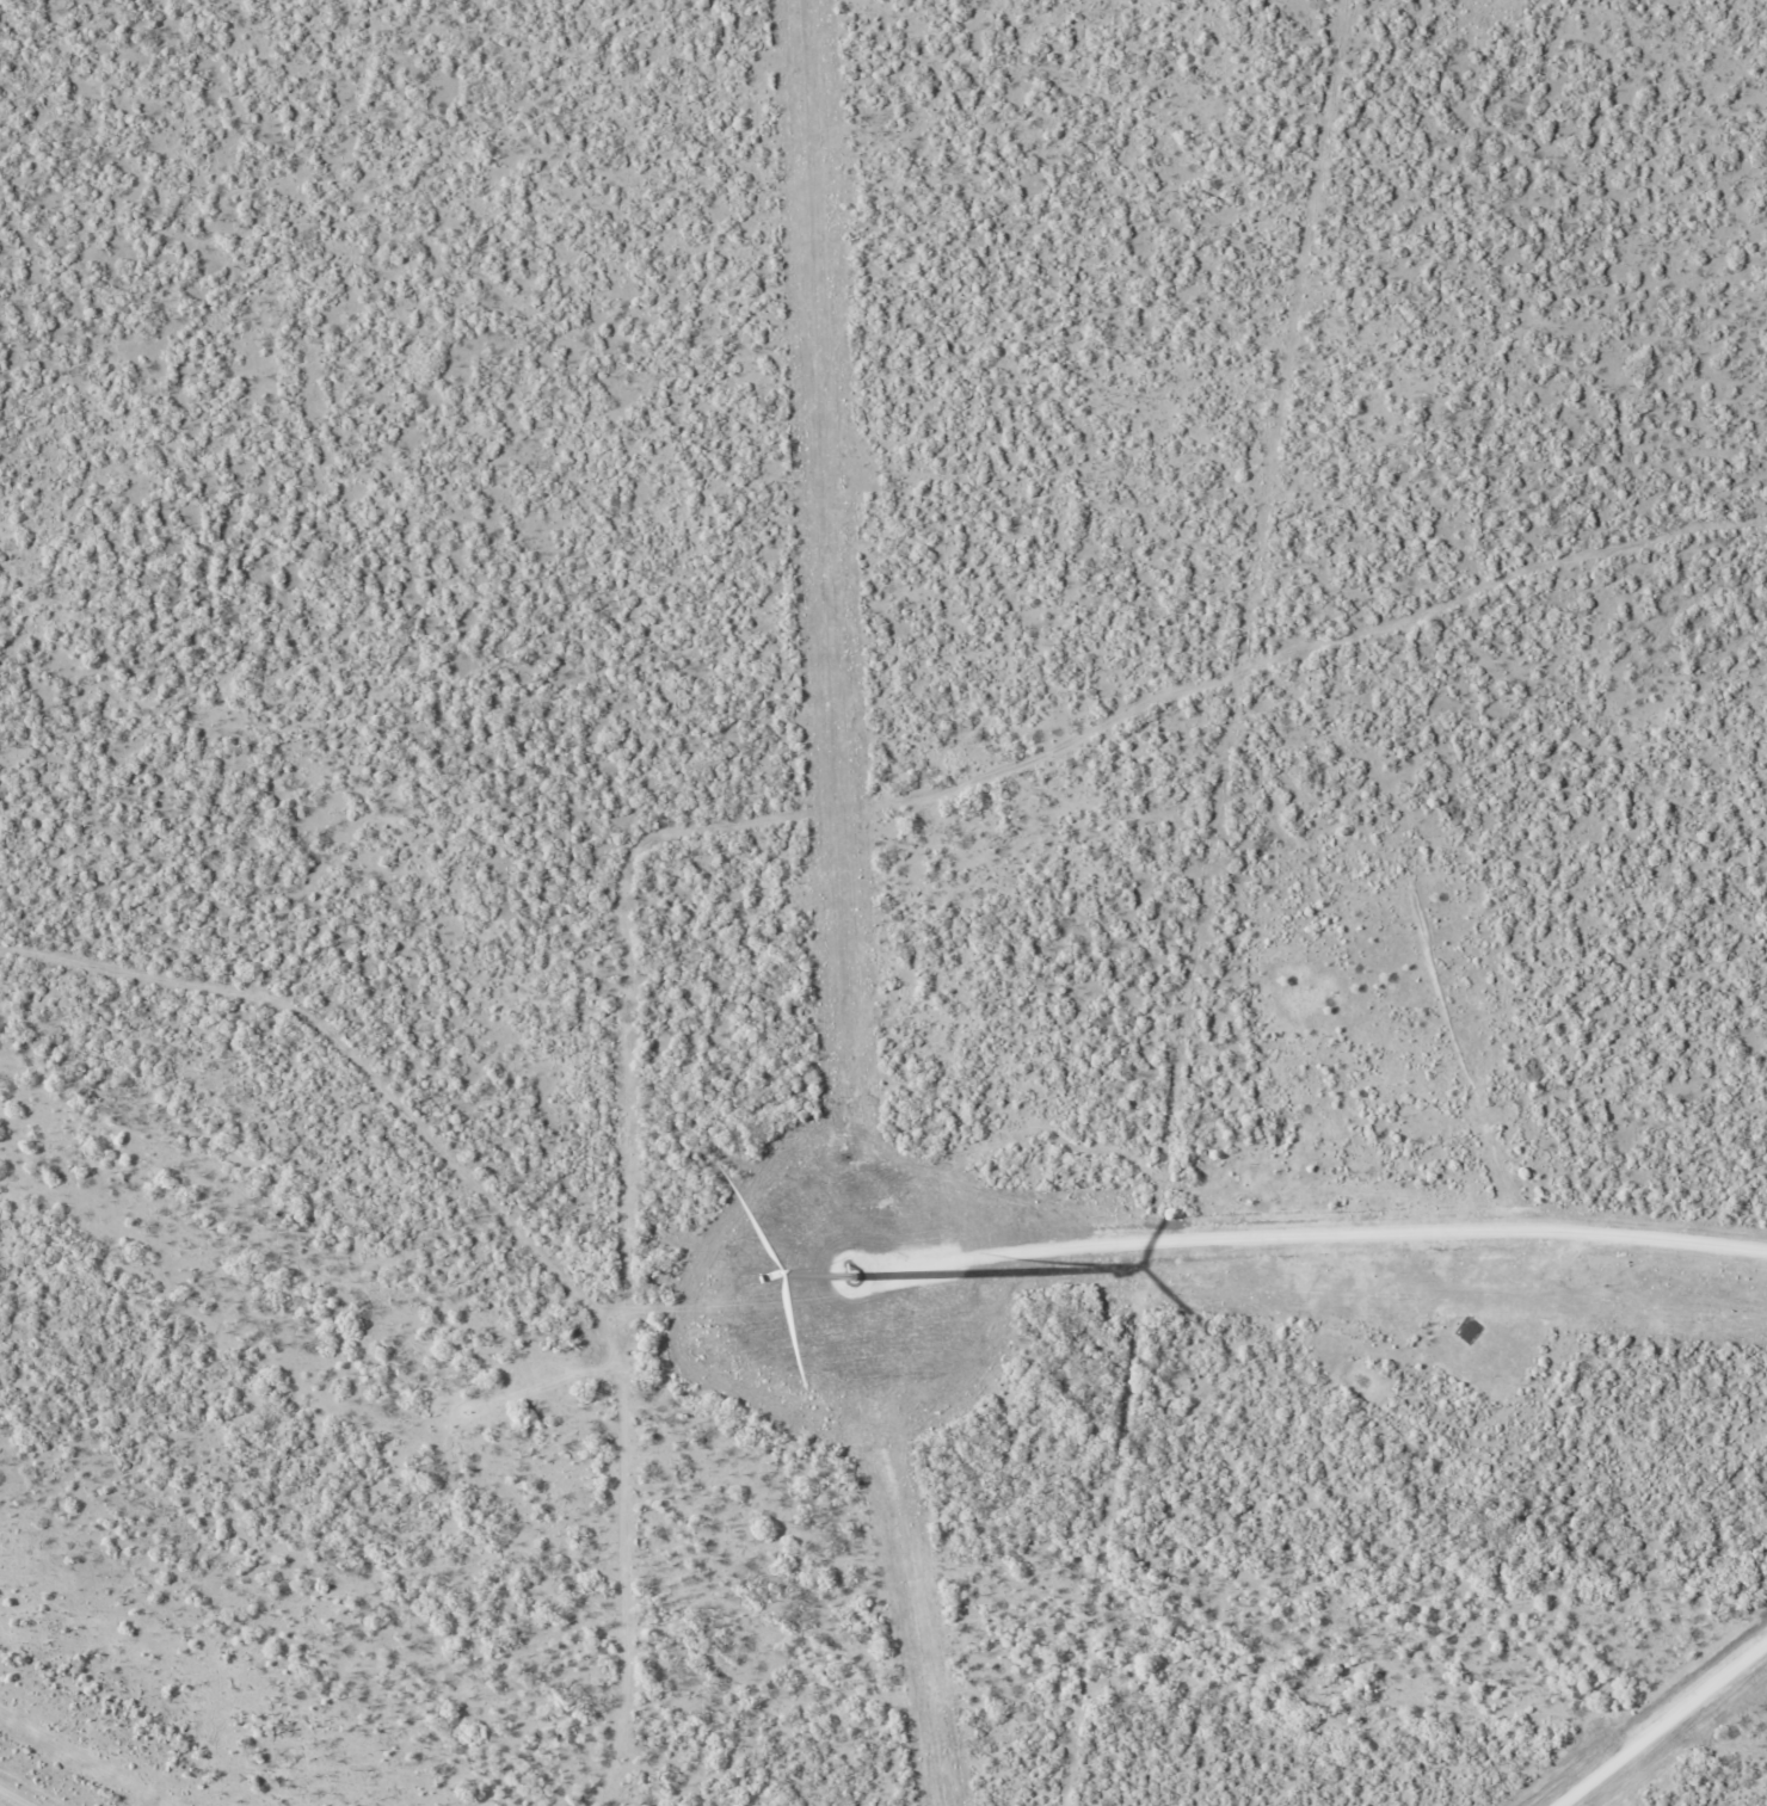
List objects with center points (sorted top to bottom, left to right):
wind turbine: (839, 1265)

